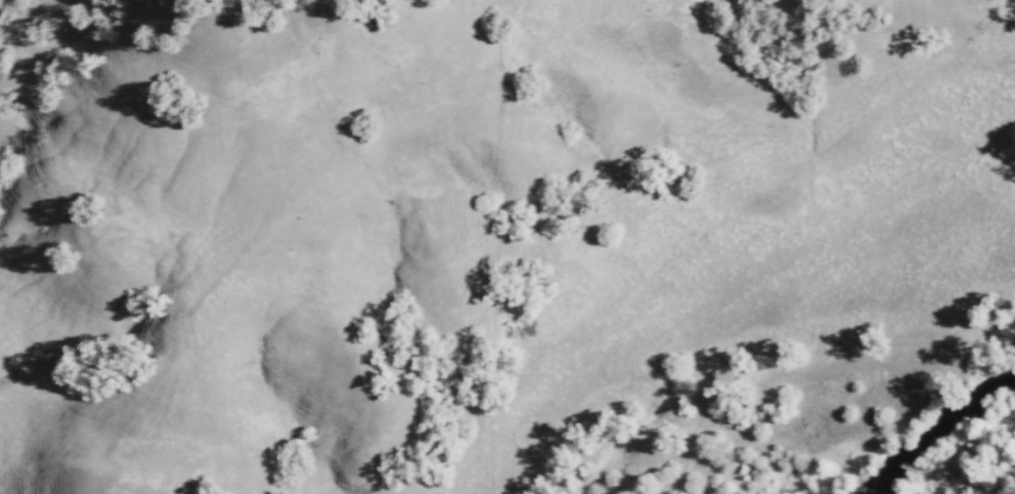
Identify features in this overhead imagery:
river: (936, 426)

